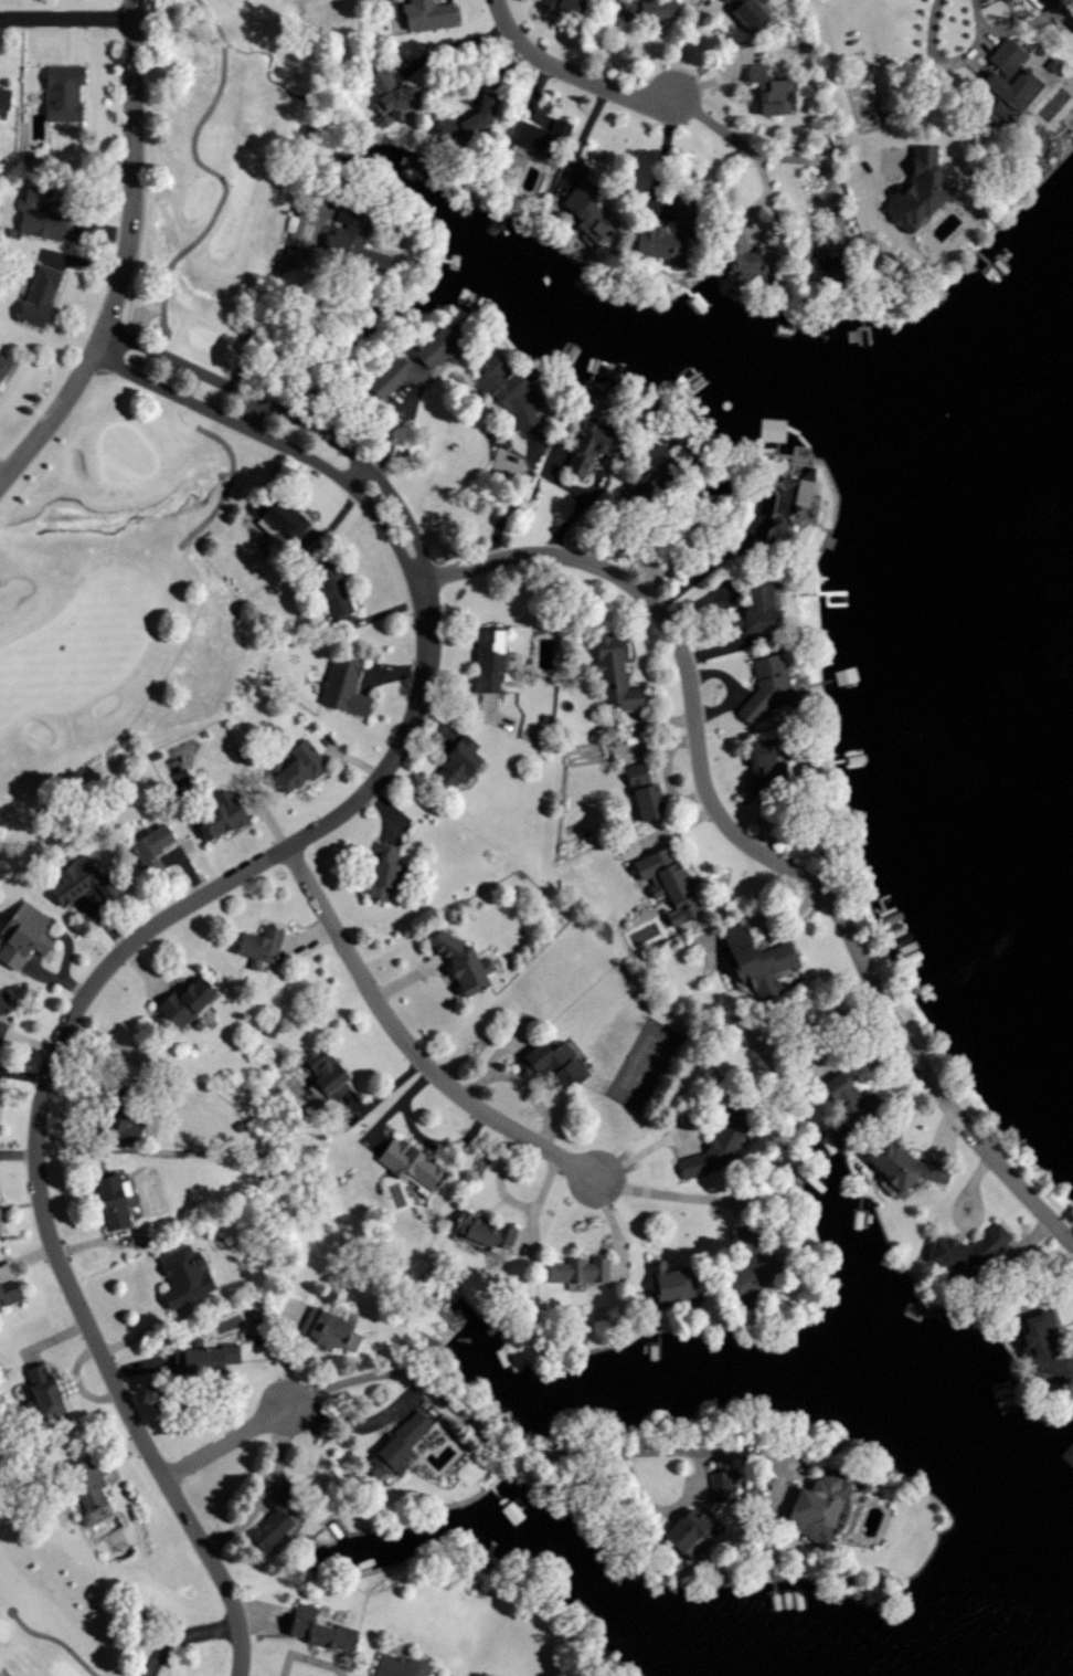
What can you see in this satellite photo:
road: (1039, 2)
building: (644, 11)
building: (744, 12)
building: (431, 14)
road: (66, 18)
road: (455, 48)
road: (570, 74)
building: (1002, 84)
road: (840, 87)
building: (765, 91)
building: (60, 92)
building: (392, 97)
building: (1, 101)
road: (714, 125)
building: (538, 136)
road: (803, 158)
road: (213, 171)
building: (914, 190)
road: (766, 197)
building: (585, 214)
building: (39, 215)
building: (351, 241)
building: (658, 244)
building: (739, 254)
road: (124, 259)
building: (811, 259)
building: (34, 295)
road: (261, 303)
park: (148, 355)
building: (418, 360)
building: (3, 369)
building: (500, 386)
building: (588, 445)
building: (652, 463)
road: (231, 470)
road: (1, 477)
road: (512, 500)
building: (787, 503)
building: (277, 512)
road: (708, 563)
building: (328, 588)
building: (752, 608)
building: (489, 658)
building: (615, 671)
building: (343, 685)
building: (769, 685)
building: (763, 762)
building: (458, 763)
building: (300, 766)
building: (642, 787)
building: (223, 815)
building: (152, 841)
road: (751, 846)
building: (383, 869)
building: (73, 878)
building: (668, 881)
road: (179, 908)
building: (22, 932)
building: (261, 945)
building: (758, 960)
building: (464, 962)
building: (3, 999)
building: (185, 1001)
building: (2, 1029)
road: (408, 1045)
building: (553, 1062)
building: (327, 1074)
building: (850, 1097)
building: (121, 1126)
building: (716, 1145)
building: (411, 1162)
building: (903, 1163)
road: (666, 1193)
building: (113, 1200)
road: (956, 1215)
building: (0, 1225)
building: (484, 1230)
building: (967, 1250)
building: (580, 1268)
building: (753, 1273)
building: (184, 1274)
building: (672, 1282)
building: (10, 1292)
building: (330, 1329)
building: (1043, 1343)
building: (205, 1357)
building: (46, 1391)
road: (225, 1443)
building: (397, 1447)
road: (516, 1451)
building: (86, 1484)
building: (721, 1485)
road: (264, 1488)
building: (816, 1505)
building: (275, 1518)
building: (689, 1527)
park: (49, 1585)
building: (320, 1627)
road: (181, 1634)
road: (55, 1638)
road: (306, 1658)
building: (400, 1666)
building: (480, 1674)

